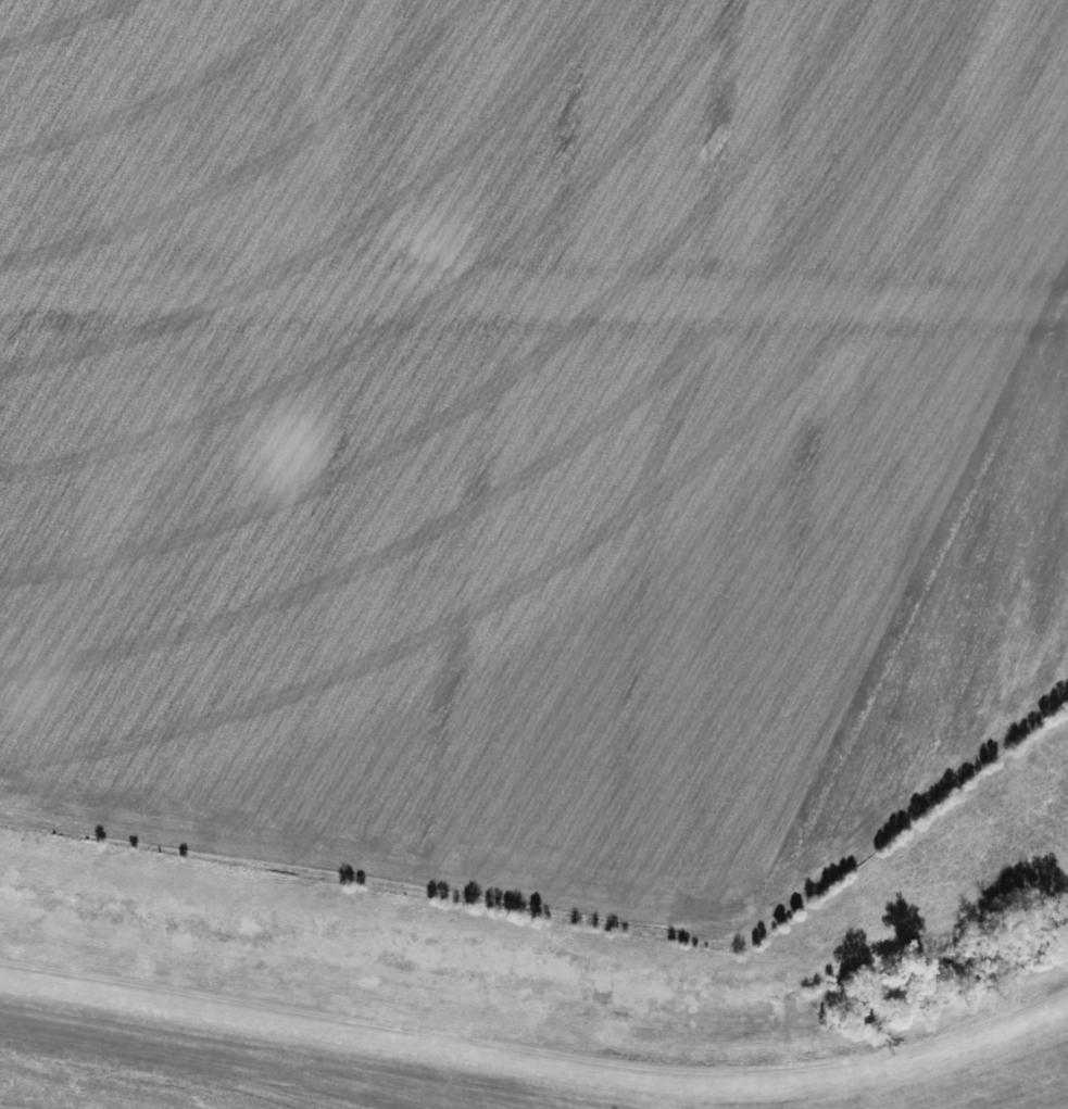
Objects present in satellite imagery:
road: (539, 1075)

